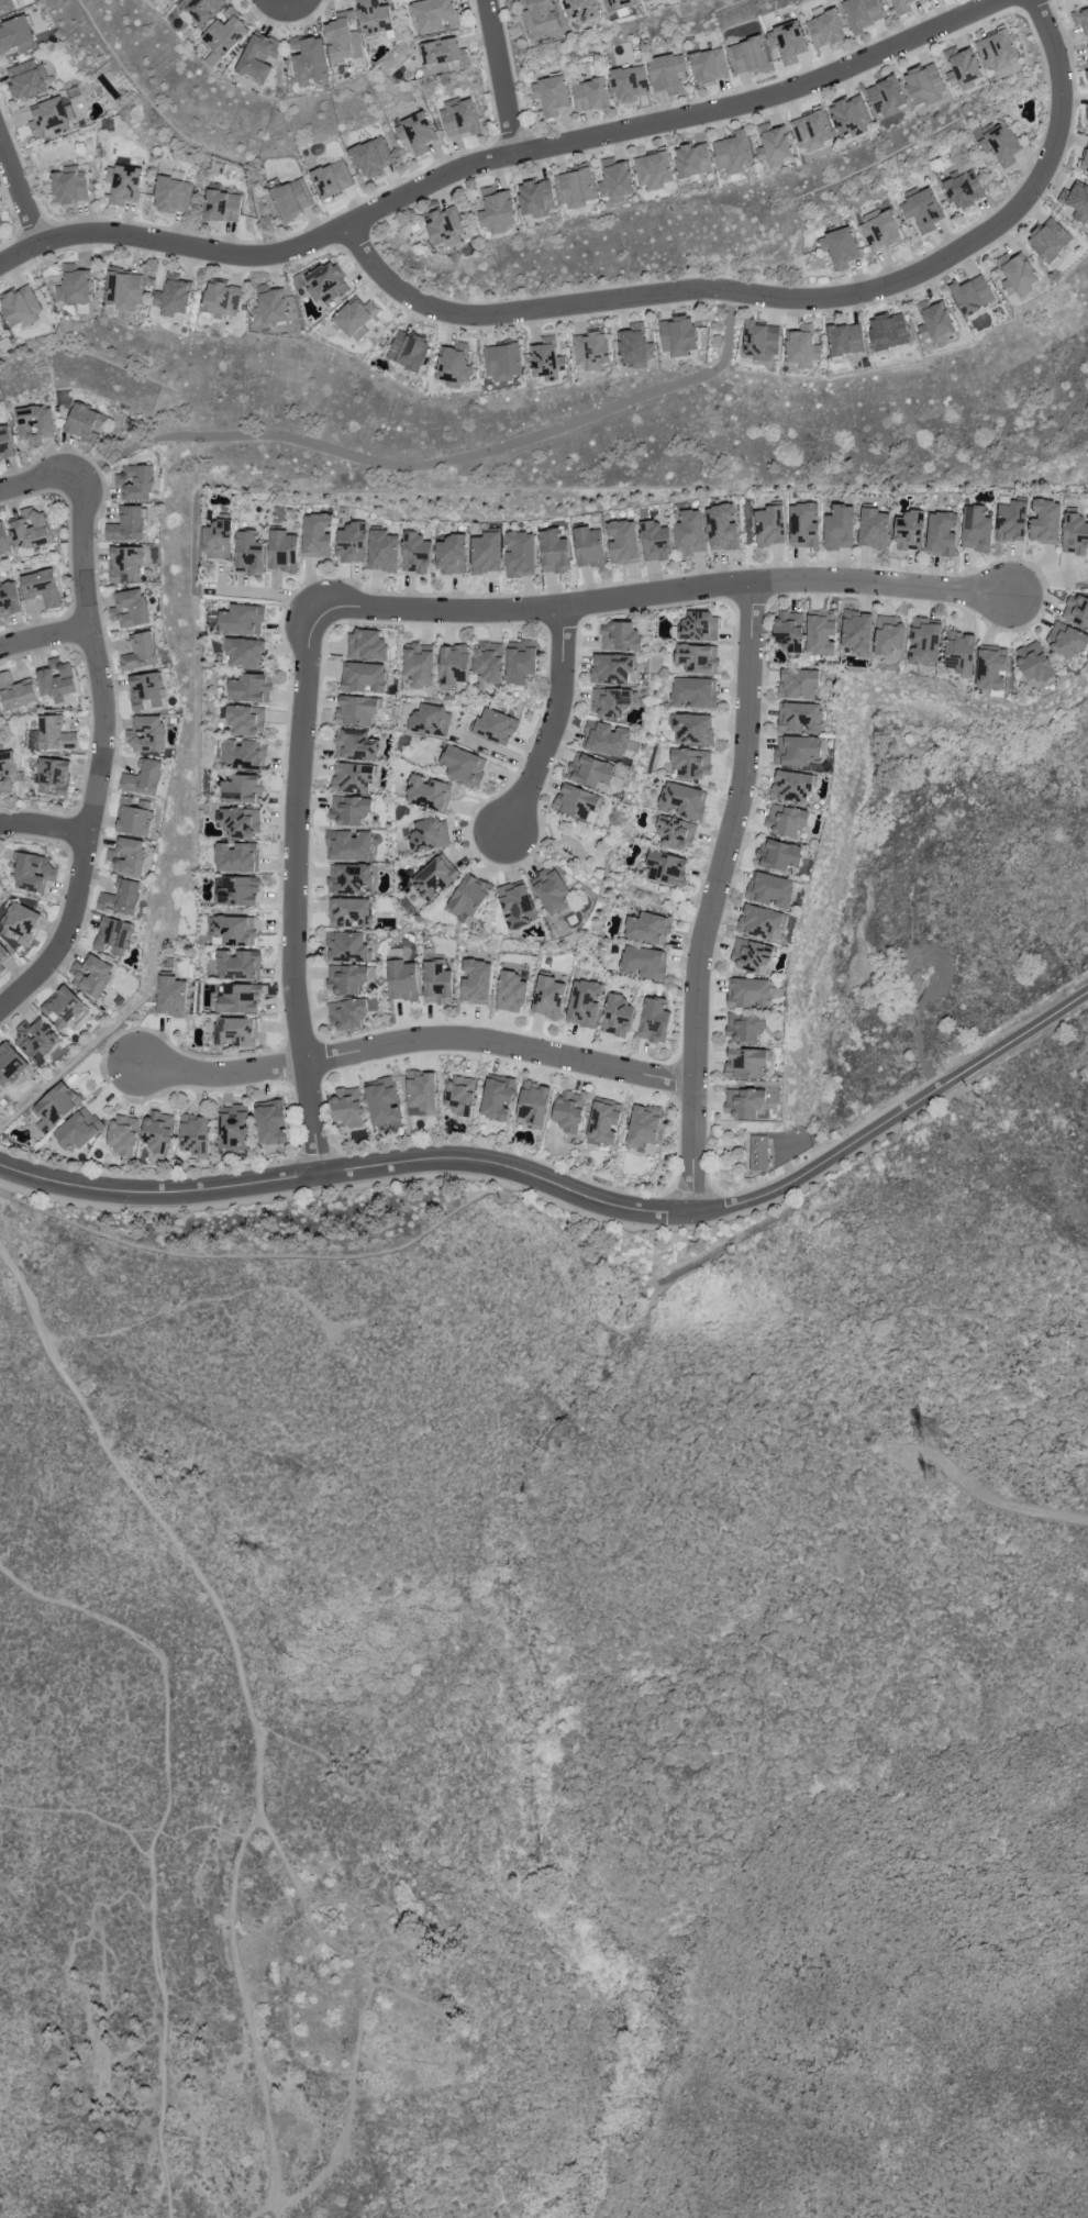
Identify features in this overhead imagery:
building: (173, 0)
building: (645, 0)
building: (882, 0)
building: (925, 0)
building: (618, 4)
road: (1028, 4)
building: (4, 5)
road: (291, 5)
building: (901, 7)
building: (203, 9)
building: (580, 9)
building: (433, 14)
building: (862, 14)
building: (374, 16)
building: (540, 18)
building: (1080, 20)
road: (286, 23)
building: (824, 29)
building: (15, 35)
building: (224, 36)
building: (343, 37)
building: (786, 42)
building: (1087, 48)
building: (997, 52)
building: (442, 56)
building: (747, 56)
building: (258, 57)
building: (308, 58)
building: (708, 68)
building: (963, 71)
building: (666, 73)
building: (1086, 75)
road: (502, 76)
building: (25, 80)
building: (629, 84)
building: (925, 88)
building: (589, 95)
building: (549, 96)
building: (885, 97)
road: (686, 102)
building: (1086, 112)
building: (458, 117)
building: (850, 117)
building: (49, 119)
building: (810, 131)
building: (415, 133)
building: (999, 145)
building: (776, 146)
building: (733, 153)
road: (507, 155)
building: (371, 157)
building: (1085, 160)
building: (653, 170)
building: (331, 179)
road: (29, 181)
building: (615, 181)
building: (121, 184)
building: (68, 185)
building: (574, 188)
building: (963, 190)
road: (21, 192)
building: (171, 196)
building: (536, 198)
building: (291, 199)
building: (1076, 202)
building: (221, 207)
road: (10, 208)
road: (344, 209)
building: (921, 211)
building: (497, 212)
building: (0, 224)
building: (444, 226)
building: (879, 232)
building: (1048, 240)
road: (9, 243)
road: (995, 244)
building: (839, 249)
road: (167, 255)
building: (1014, 275)
building: (325, 284)
building: (75, 288)
building: (124, 289)
building: (173, 295)
building: (970, 295)
road: (443, 297)
building: (221, 299)
road: (790, 303)
building: (20, 307)
building: (269, 307)
building: (355, 319)
building: (934, 323)
road: (499, 326)
building: (887, 332)
building: (676, 336)
building: (844, 340)
building: (759, 341)
building: (633, 344)
building: (801, 346)
building: (408, 350)
building: (590, 350)
building: (501, 362)
building: (453, 365)
building: (80, 421)
building: (33, 424)
building: (5, 444)
road: (49, 452)
road: (442, 463)
building: (134, 481)
road: (35, 483)
building: (1010, 522)
building: (1044, 522)
building: (126, 525)
building: (802, 525)
building: (769, 526)
building: (721, 528)
building: (837, 528)
building: (871, 529)
building: (975, 529)
building: (30, 530)
building: (909, 531)
building: (688, 533)
building: (941, 534)
building: (1074, 534)
building: (315, 535)
building: (3, 540)
building: (217, 540)
building: (622, 542)
building: (653, 542)
building: (351, 543)
building: (588, 547)
building: (281, 551)
building: (381, 552)
building: (553, 552)
building: (247, 553)
building: (414, 553)
building: (485, 553)
building: (519, 554)
building: (451, 555)
building: (124, 565)
road: (1044, 580)
building: (40, 588)
road: (274, 596)
road: (667, 597)
building: (9, 599)
building: (130, 609)
building: (1076, 611)
building: (241, 620)
building: (698, 626)
building: (856, 632)
building: (820, 634)
building: (888, 634)
road: (43, 636)
building: (619, 636)
building: (1065, 641)
building: (923, 642)
building: (365, 645)
road: (57, 648)
building: (140, 652)
building: (244, 653)
building: (959, 653)
building: (696, 658)
building: (488, 662)
building: (519, 662)
building: (1032, 663)
building: (419, 665)
building: (453, 665)
building: (613, 668)
building: (989, 668)
building: (363, 677)
building: (55, 679)
building: (798, 684)
building: (249, 688)
building: (15, 691)
building: (145, 691)
building: (692, 692)
building: (610, 702)
building: (355, 710)
building: (800, 718)
building: (245, 720)
road: (556, 720)
building: (429, 721)
building: (495, 727)
building: (692, 729)
building: (54, 734)
building: (146, 734)
building: (606, 739)
building: (354, 745)
building: (796, 751)
building: (242, 754)
road: (103, 757)
building: (690, 763)
building: (463, 765)
road: (114, 766)
building: (7, 772)
building: (591, 772)
building: (53, 776)
building: (143, 777)
building: (352, 777)
building: (790, 786)
building: (241, 789)
building: (428, 792)
building: (682, 800)
building: (577, 802)
building: (348, 810)
building: (135, 819)
building: (786, 820)
building: (241, 821)
road: (44, 829)
building: (675, 833)
building: (428, 835)
road: (56, 842)
building: (347, 845)
building: (779, 855)
building: (127, 856)
building: (235, 857)
building: (665, 868)
building: (32, 873)
building: (433, 877)
building: (348, 878)
building: (769, 890)
building: (551, 891)
road: (286, 892)
building: (468, 897)
building: (121, 898)
road: (714, 900)
building: (515, 906)
building: (349, 912)
building: (759, 921)
building: (19, 923)
building: (647, 929)
building: (233, 930)
building: (112, 936)
building: (346, 947)
building: (751, 955)
building: (2, 957)
building: (641, 962)
building: (237, 964)
building: (91, 976)
building: (345, 978)
building: (401, 980)
building: (475, 982)
building: (436, 983)
building: (510, 991)
building: (748, 992)
building: (170, 997)
building: (547, 997)
building: (238, 998)
building: (582, 1003)
building: (63, 1007)
building: (348, 1013)
building: (615, 1016)
building: (653, 1021)
building: (744, 1027)
building: (235, 1032)
building: (36, 1039)
road: (415, 1052)
building: (744, 1063)
building: (9, 1064)
building: (420, 1094)
building: (0, 1095)
building: (459, 1095)
building: (496, 1098)
building: (381, 1101)
building: (533, 1102)
building: (743, 1102)
building: (54, 1107)
building: (346, 1107)
building: (568, 1111)
building: (603, 1121)
building: (270, 1123)
building: (233, 1128)
building: (642, 1129)
building: (77, 1130)
building: (157, 1131)
building: (122, 1134)
building: (193, 1134)
building: (757, 1153)
road: (338, 1187)
road: (571, 1194)
power tower: (929, 1430)
power tower: (930, 1476)
road: (1007, 1505)
road: (248, 1703)
road: (321, 1765)
road: (84, 1811)
road: (156, 1843)
road: (360, 1909)
road: (366, 2005)
road: (4, 2199)
road: (262, 2205)

